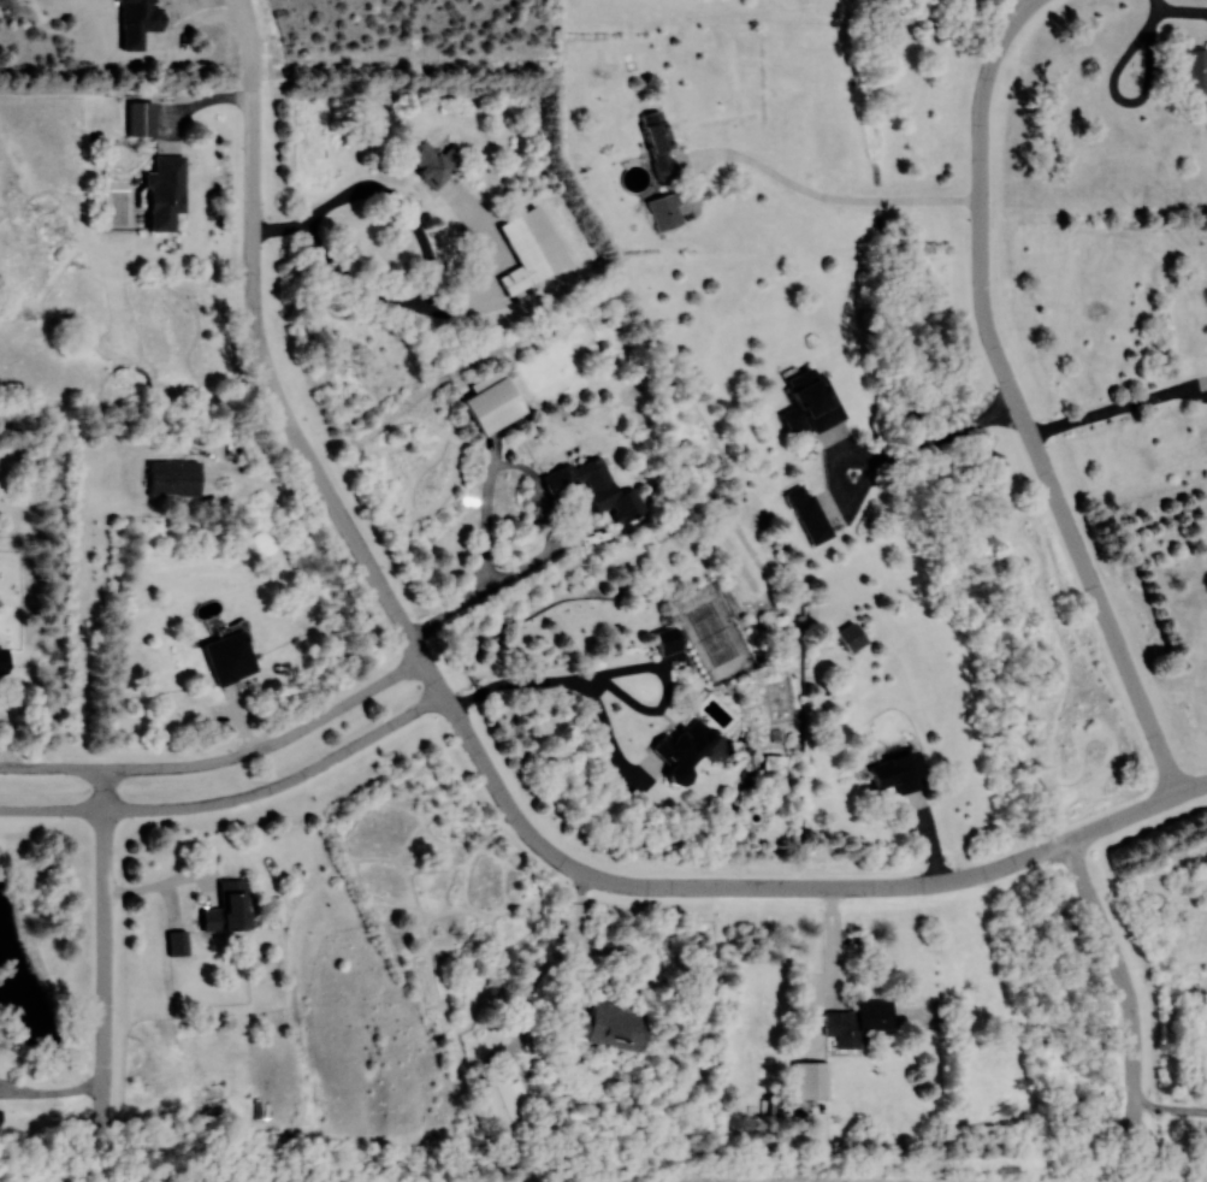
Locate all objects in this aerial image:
road: (1018, 6)
road: (250, 41)
building: (1194, 71)
building: (142, 118)
building: (661, 143)
building: (431, 162)
building: (166, 191)
road: (847, 200)
building: (667, 212)
road: (427, 250)
building: (532, 250)
road: (1018, 400)
building: (812, 403)
building: (496, 406)
road: (284, 407)
road: (1118, 408)
road: (887, 459)
building: (174, 478)
building: (596, 487)
road: (546, 509)
building: (810, 514)
building: (852, 637)
building: (669, 640)
building: (230, 658)
building: (4, 661)
road: (613, 673)
road: (5, 741)
building: (686, 751)
road: (225, 763)
building: (900, 773)
road: (236, 803)
road: (167, 885)
road: (787, 887)
building: (229, 909)
road: (105, 939)
building: (178, 944)
road: (1125, 979)
road: (616, 988)
building: (858, 1022)
building: (611, 1024)
building: (812, 1081)
road: (53, 1095)
building: (503, 1107)
building: (1, 1116)

